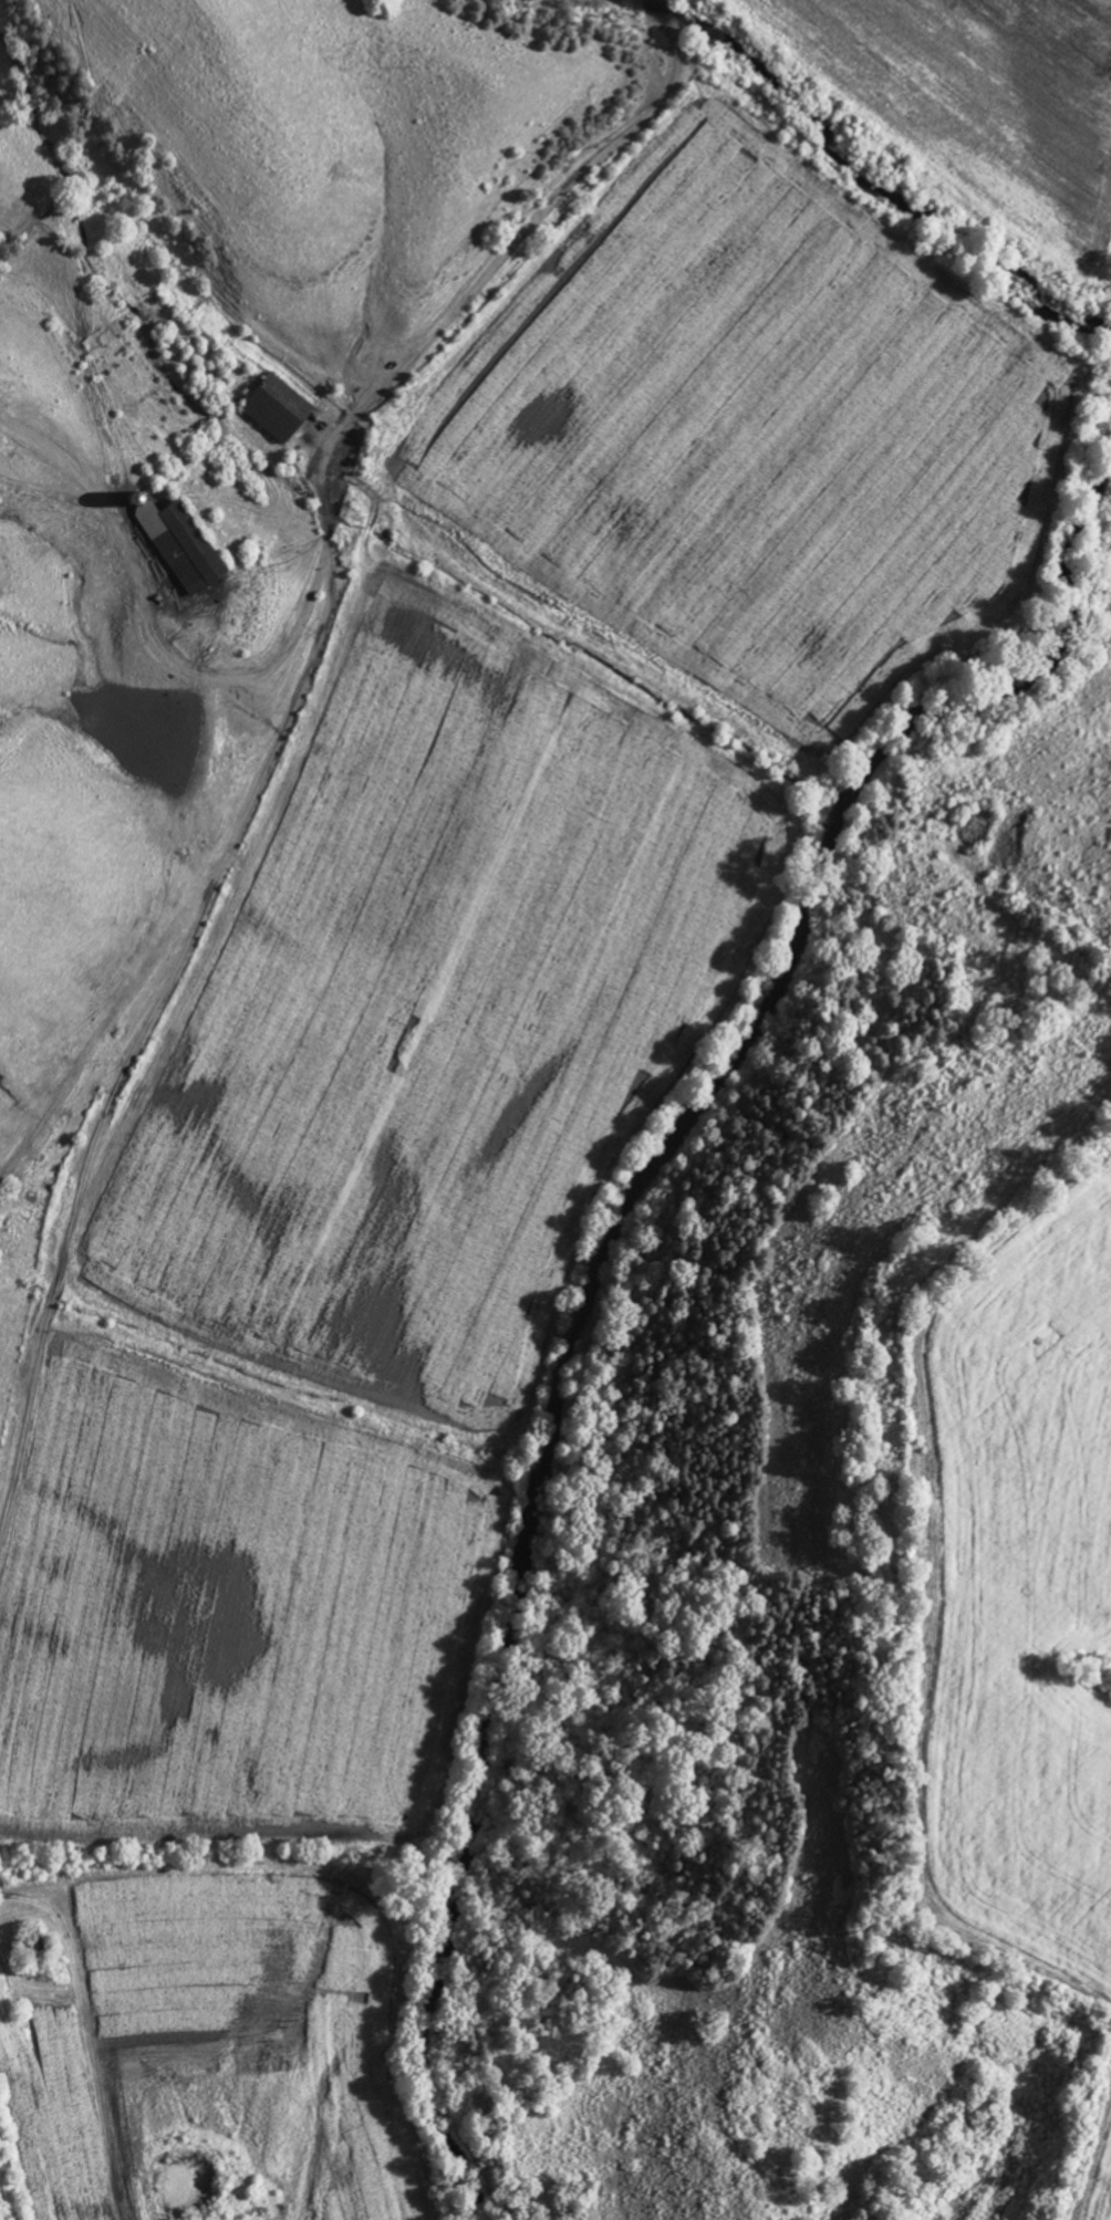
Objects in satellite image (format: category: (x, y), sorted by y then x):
road: (446, 323)
building: (276, 410)
building: (176, 550)

